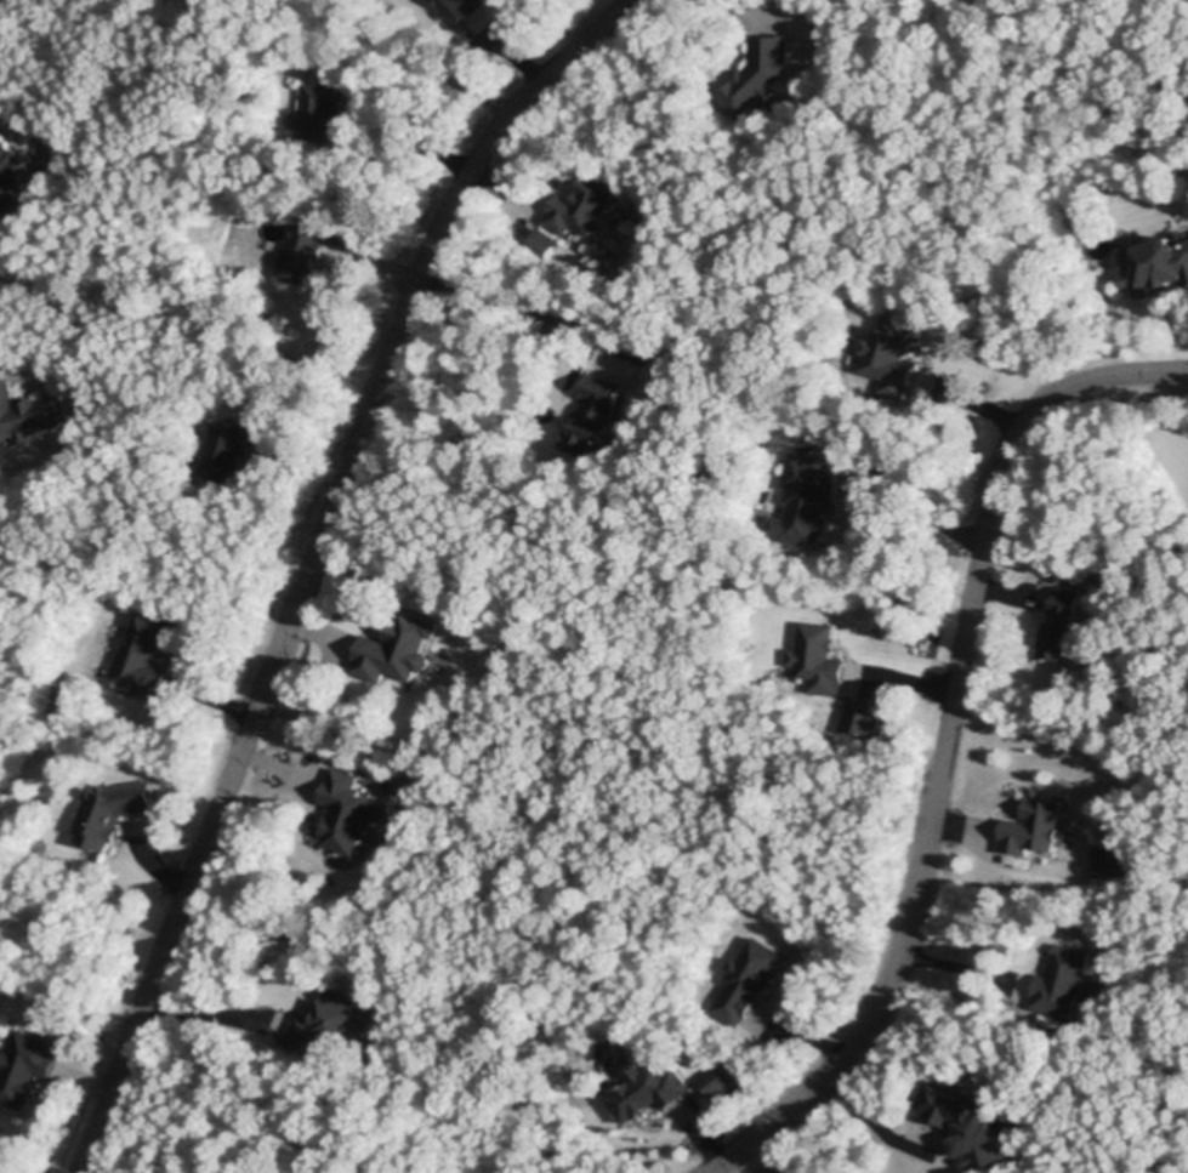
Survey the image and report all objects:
building: (461, 12)
building: (758, 72)
building: (320, 108)
road: (409, 137)
building: (8, 172)
building: (581, 204)
building: (542, 240)
building: (300, 250)
building: (1153, 260)
road: (529, 309)
building: (888, 353)
building: (681, 397)
building: (29, 412)
building: (593, 414)
building: (228, 449)
road: (902, 490)
building: (806, 496)
road: (308, 559)
building: (1115, 587)
building: (1058, 626)
building: (396, 648)
building: (144, 654)
building: (817, 657)
building: (865, 718)
road: (942, 741)
building: (112, 812)
building: (346, 813)
building: (1029, 826)
building: (1118, 861)
road: (965, 968)
building: (748, 976)
building: (1061, 979)
road: (212, 1017)
building: (324, 1019)
building: (24, 1065)
building: (723, 1080)
building: (648, 1091)
road: (870, 1121)
building: (965, 1122)
road: (762, 1157)

